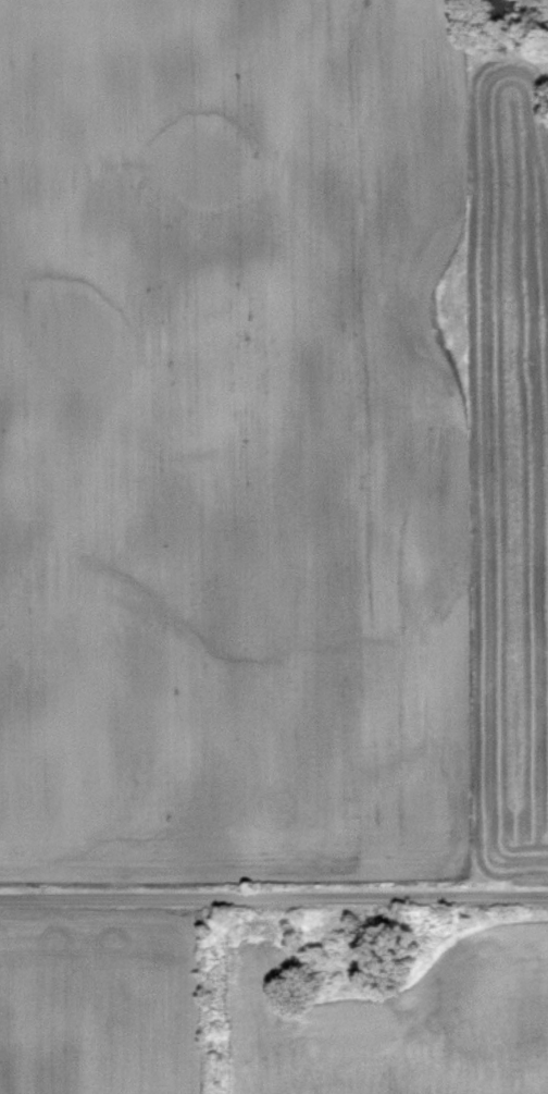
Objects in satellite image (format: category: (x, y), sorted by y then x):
road: (273, 896)

